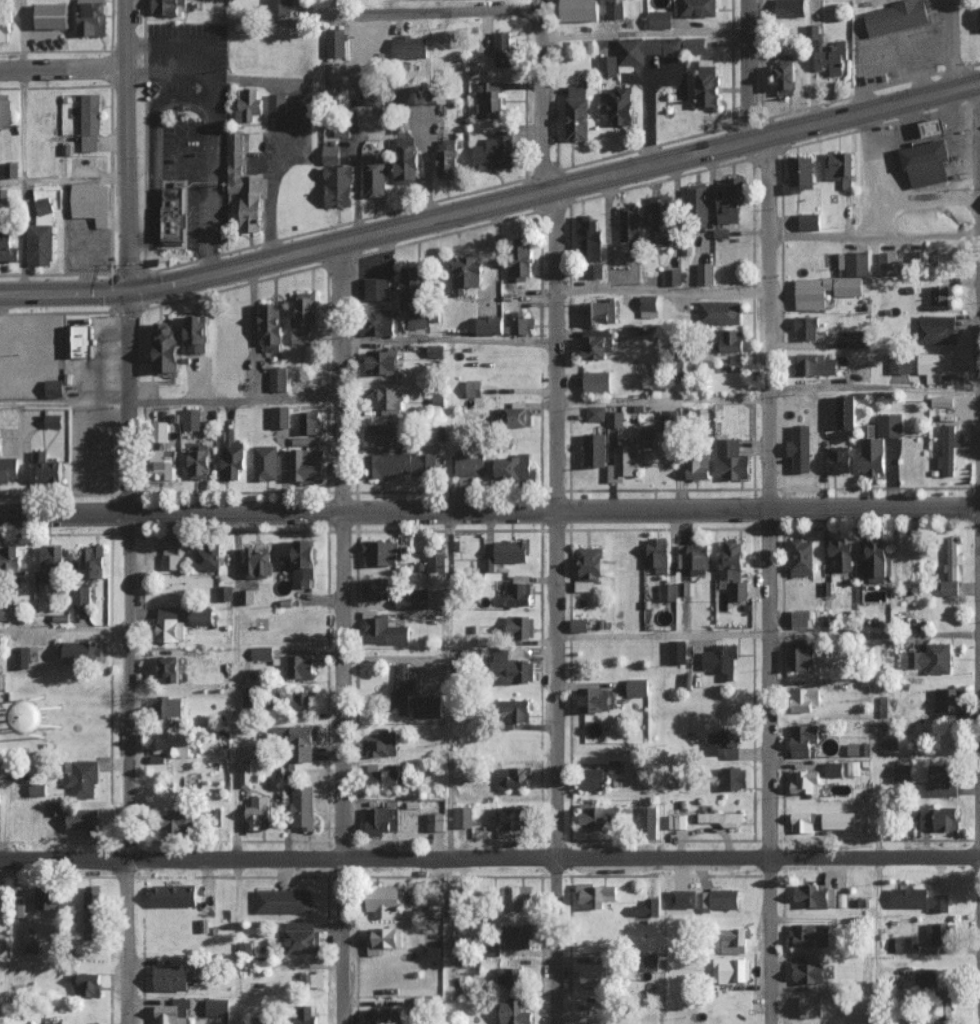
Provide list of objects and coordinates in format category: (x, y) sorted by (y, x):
building: (168, 6)
building: (280, 7)
building: (699, 8)
building: (790, 8)
building: (614, 9)
building: (582, 10)
road: (344, 11)
building: (979, 13)
building: (53, 15)
building: (898, 16)
building: (92, 17)
road: (429, 19)
building: (660, 19)
building: (5, 31)
building: (336, 42)
road: (944, 42)
road: (184, 44)
building: (410, 47)
building: (503, 48)
building: (648, 51)
building: (827, 51)
parking lot: (894, 57)
road: (62, 69)
road: (741, 69)
building: (787, 74)
road: (168, 75)
building: (708, 83)
road: (212, 89)
building: (375, 90)
road: (910, 94)
building: (420, 95)
building: (490, 100)
building: (277, 103)
building: (249, 104)
building: (623, 106)
building: (5, 111)
building: (578, 112)
building: (91, 114)
building: (936, 128)
road: (158, 134)
parking lot: (222, 136)
building: (90, 143)
road: (212, 145)
parking lot: (181, 150)
building: (495, 152)
road: (151, 153)
building: (332, 155)
parking lot: (956, 156)
building: (449, 158)
building: (408, 159)
building: (928, 163)
gas station: (928, 163)
road: (878, 170)
parking lot: (898, 172)
building: (800, 174)
building: (375, 176)
road: (63, 178)
building: (246, 184)
building: (339, 186)
building: (9, 196)
road: (929, 196)
building: (731, 200)
building: (91, 202)
building: (698, 203)
building: (44, 210)
building: (175, 215)
road: (422, 218)
building: (661, 220)
building: (810, 221)
building: (629, 229)
road: (208, 231)
building: (722, 233)
road: (875, 235)
road: (86, 237)
building: (591, 241)
building: (9, 244)
building: (41, 245)
parking lot: (87, 251)
road: (128, 256)
road: (541, 257)
building: (929, 257)
building: (522, 260)
building: (888, 263)
building: (594, 270)
building: (705, 273)
building: (467, 274)
building: (671, 276)
building: (835, 281)
building: (413, 288)
building: (380, 289)
traffic signals: (129, 292)
building: (940, 295)
building: (649, 305)
building: (602, 312)
building: (719, 312)
building: (304, 316)
building: (381, 320)
building: (417, 320)
road: (769, 321)
building: (521, 323)
building: (491, 325)
building: (271, 326)
building: (807, 328)
building: (938, 329)
building: (196, 334)
building: (859, 338)
building: (83, 340)
building: (732, 341)
building: (598, 344)
building: (166, 348)
building: (436, 350)
parking lot: (30, 354)
road: (98, 357)
building: (383, 362)
parking lot: (96, 363)
building: (899, 363)
building: (815, 364)
building: (936, 366)
road: (341, 376)
building: (278, 379)
building: (597, 381)
building: (55, 388)
building: (474, 388)
building: (390, 401)
building: (942, 401)
road: (64, 402)
road: (235, 402)
building: (846, 411)
building: (596, 413)
building: (281, 416)
building: (514, 417)
building: (191, 419)
building: (615, 419)
building: (53, 420)
building: (669, 422)
building: (310, 423)
building: (161, 431)
building: (385, 434)
building: (879, 442)
parking lot: (89, 446)
building: (801, 448)
building: (595, 450)
building: (949, 450)
building: (232, 457)
building: (840, 459)
building: (733, 460)
building: (265, 462)
building: (624, 462)
building: (201, 463)
building: (470, 464)
building: (400, 465)
building: (308, 466)
building: (9, 467)
building: (515, 467)
building: (698, 468)
building: (51, 469)
road: (490, 513)
building: (514, 550)
building: (382, 551)
building: (171, 554)
building: (843, 554)
building: (803, 555)
building: (10, 556)
building: (209, 556)
building: (694, 556)
building: (953, 556)
building: (93, 560)
building: (435, 561)
building: (660, 561)
building: (875, 561)
building: (258, 562)
building: (52, 563)
building: (305, 564)
building: (590, 567)
building: (733, 570)
building: (950, 587)
building: (377, 588)
building: (687, 588)
building: (668, 591)
building: (224, 592)
building: (519, 593)
building: (81, 594)
building: (247, 596)
building: (414, 599)
building: (203, 616)
building: (803, 618)
building: (171, 624)
building: (579, 624)
building: (520, 625)
road: (63, 631)
building: (77, 650)
building: (677, 651)
building: (261, 653)
building: (801, 654)
building: (22, 656)
building: (929, 658)
building: (721, 659)
building: (169, 665)
building: (298, 666)
building: (512, 668)
building: (2, 680)
building: (637, 686)
building: (403, 689)
building: (250, 698)
building: (595, 698)
building: (805, 698)
building: (303, 700)
building: (947, 702)
building: (171, 706)
building: (428, 706)
building: (518, 710)
water tower: (27, 711)
building: (63, 712)
water tower: (45, 717)
road: (978, 724)
building: (804, 739)
building: (175, 741)
building: (297, 741)
building: (383, 742)
building: (724, 743)
building: (858, 748)
building: (615, 765)
road: (340, 767)
road: (123, 768)
road: (766, 768)
building: (852, 768)
road: (553, 769)
building: (834, 769)
building: (20, 770)
building: (902, 772)
building: (245, 774)
building: (515, 777)
building: (732, 777)
building: (384, 778)
building: (83, 779)
building: (594, 779)
building: (942, 779)
building: (805, 782)
building: (37, 789)
building: (0, 802)
building: (304, 806)
building: (55, 807)
building: (258, 812)
building: (464, 816)
building: (599, 816)
building: (513, 817)
building: (83, 818)
building: (382, 818)
building: (723, 818)
building: (940, 818)
building: (180, 819)
building: (840, 820)
building: (435, 821)
building: (648, 821)
building: (675, 821)
building: (802, 821)
road: (489, 858)
building: (597, 894)
building: (176, 895)
building: (812, 895)
building: (46, 897)
building: (522, 897)
building: (684, 898)
building: (917, 898)
building: (384, 899)
building: (720, 899)
building: (283, 900)
building: (22, 906)
building: (646, 907)
building: (437, 910)
building: (91, 911)
building: (939, 933)
building: (809, 934)
building: (384, 936)
building: (521, 936)
building: (302, 937)
building: (32, 939)
building: (733, 940)
road: (236, 942)
building: (904, 943)
building: (732, 969)
building: (811, 972)
building: (595, 975)
building: (927, 976)
building: (172, 977)
building: (509, 977)
building: (312, 980)
building: (87, 984)
building: (812, 1005)
building: (217, 1006)
building: (172, 1012)
building: (516, 1012)
building: (307, 1015)
building: (385, 1015)
building: (259, 1021)
building: (52, 1023)

